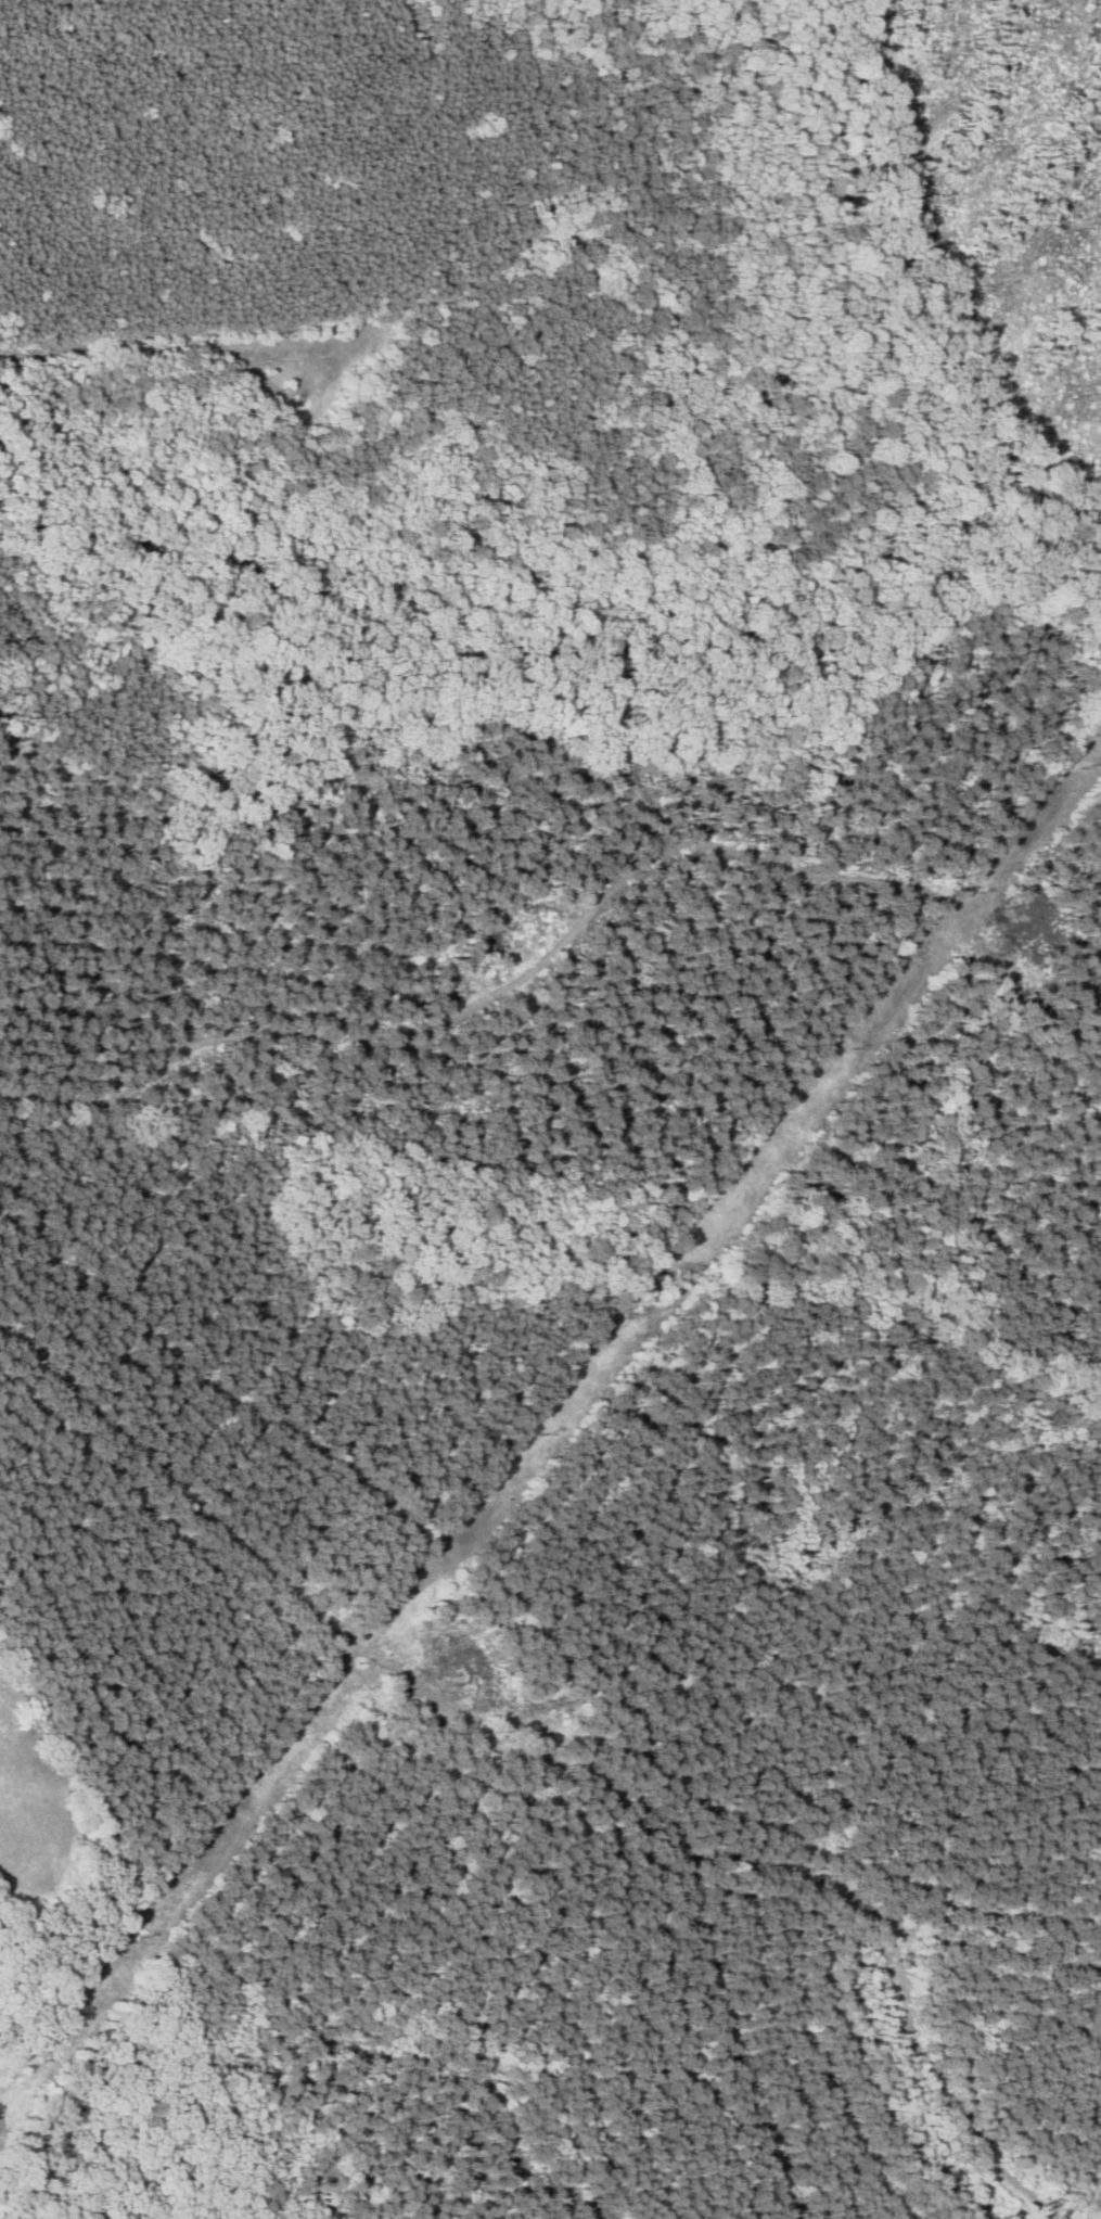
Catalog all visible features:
river: (923, 293)

